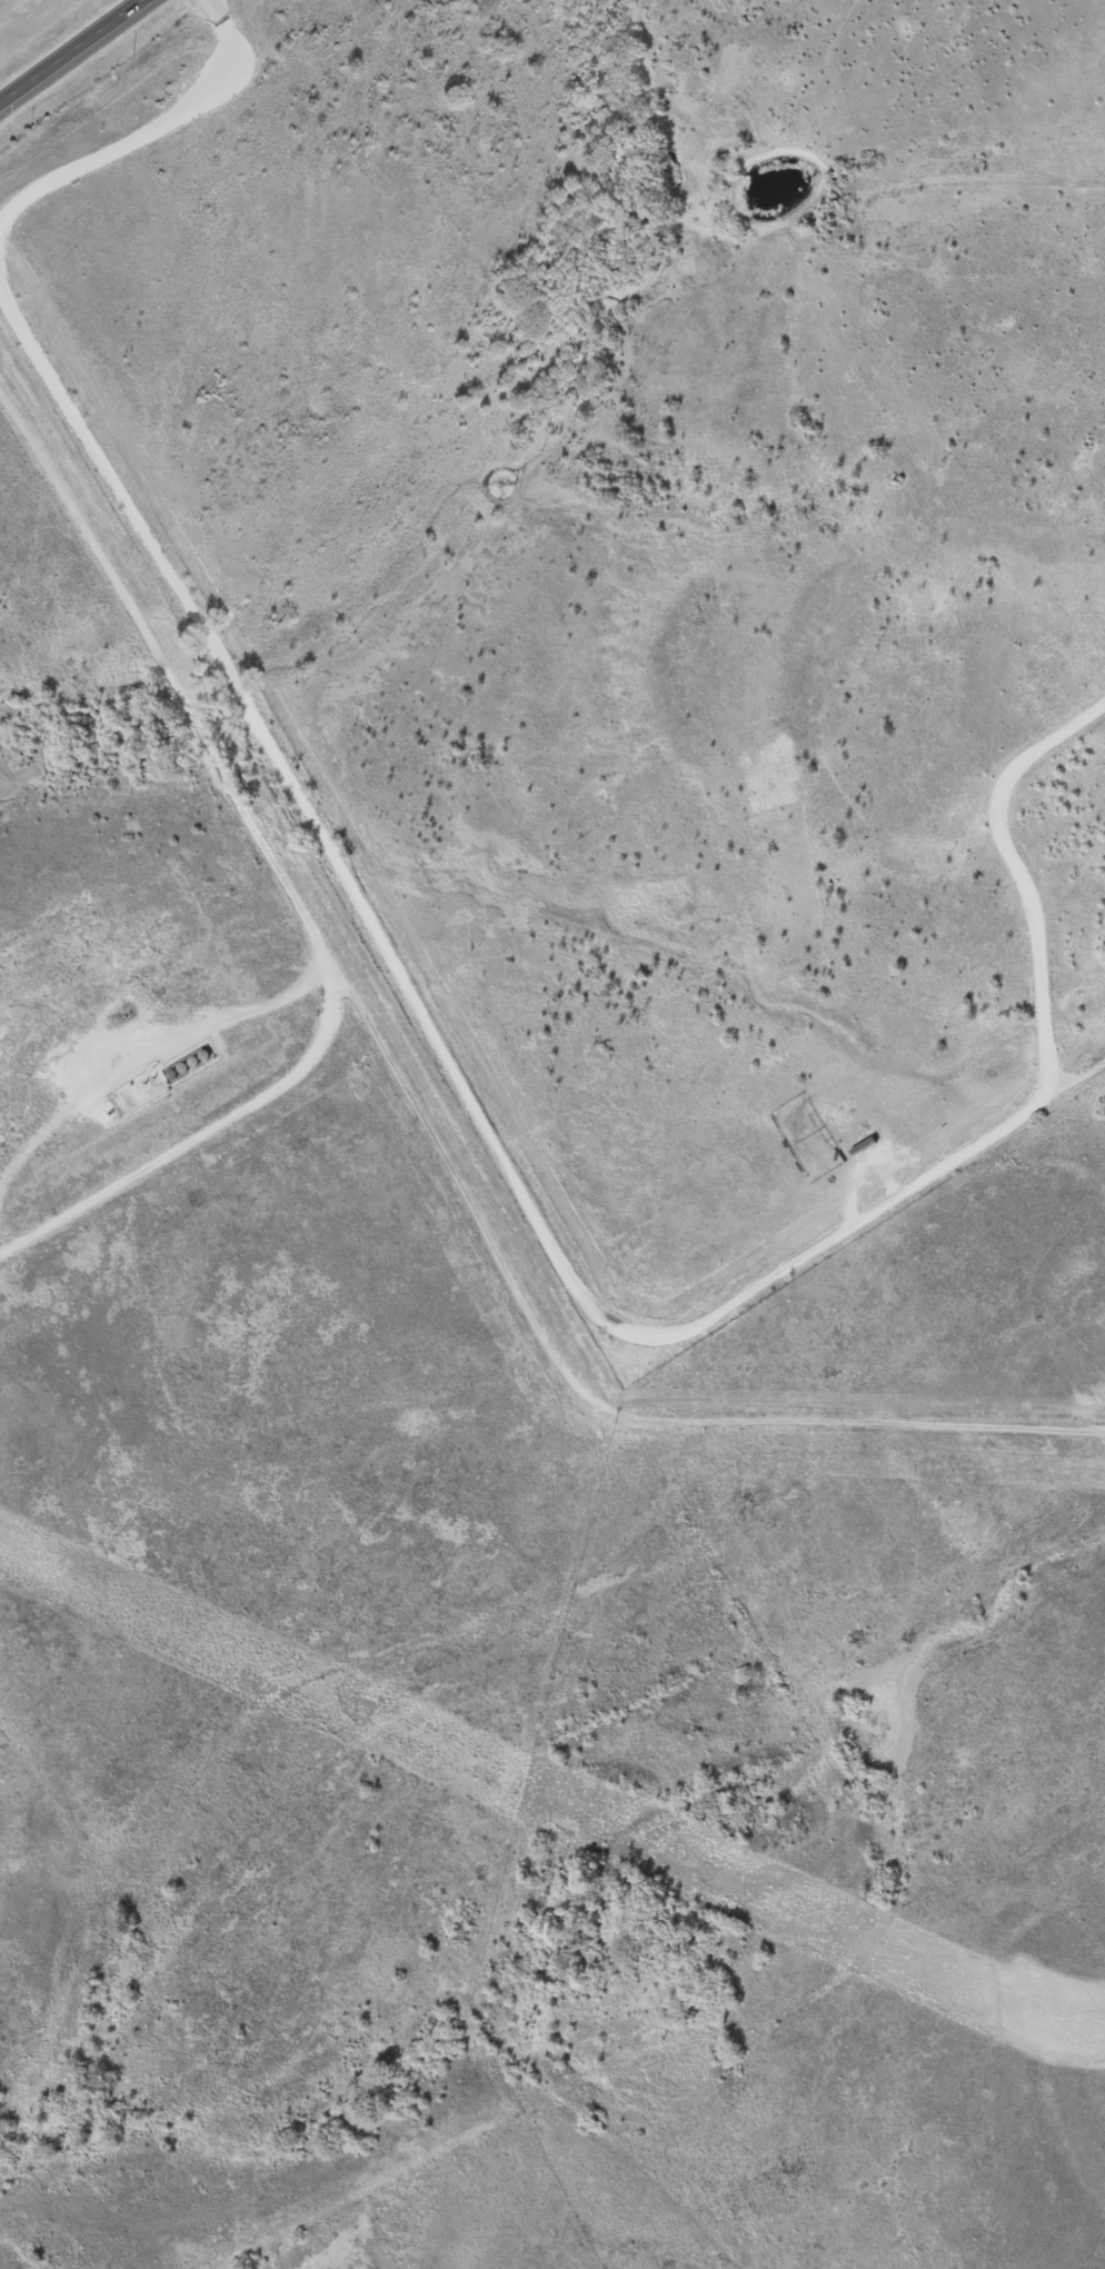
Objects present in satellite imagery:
road: (69, 50)
road: (148, 127)
road: (1021, 872)
road: (429, 1035)
road: (160, 1053)
road: (427, 1125)
road: (206, 1132)
road: (0, 1251)

